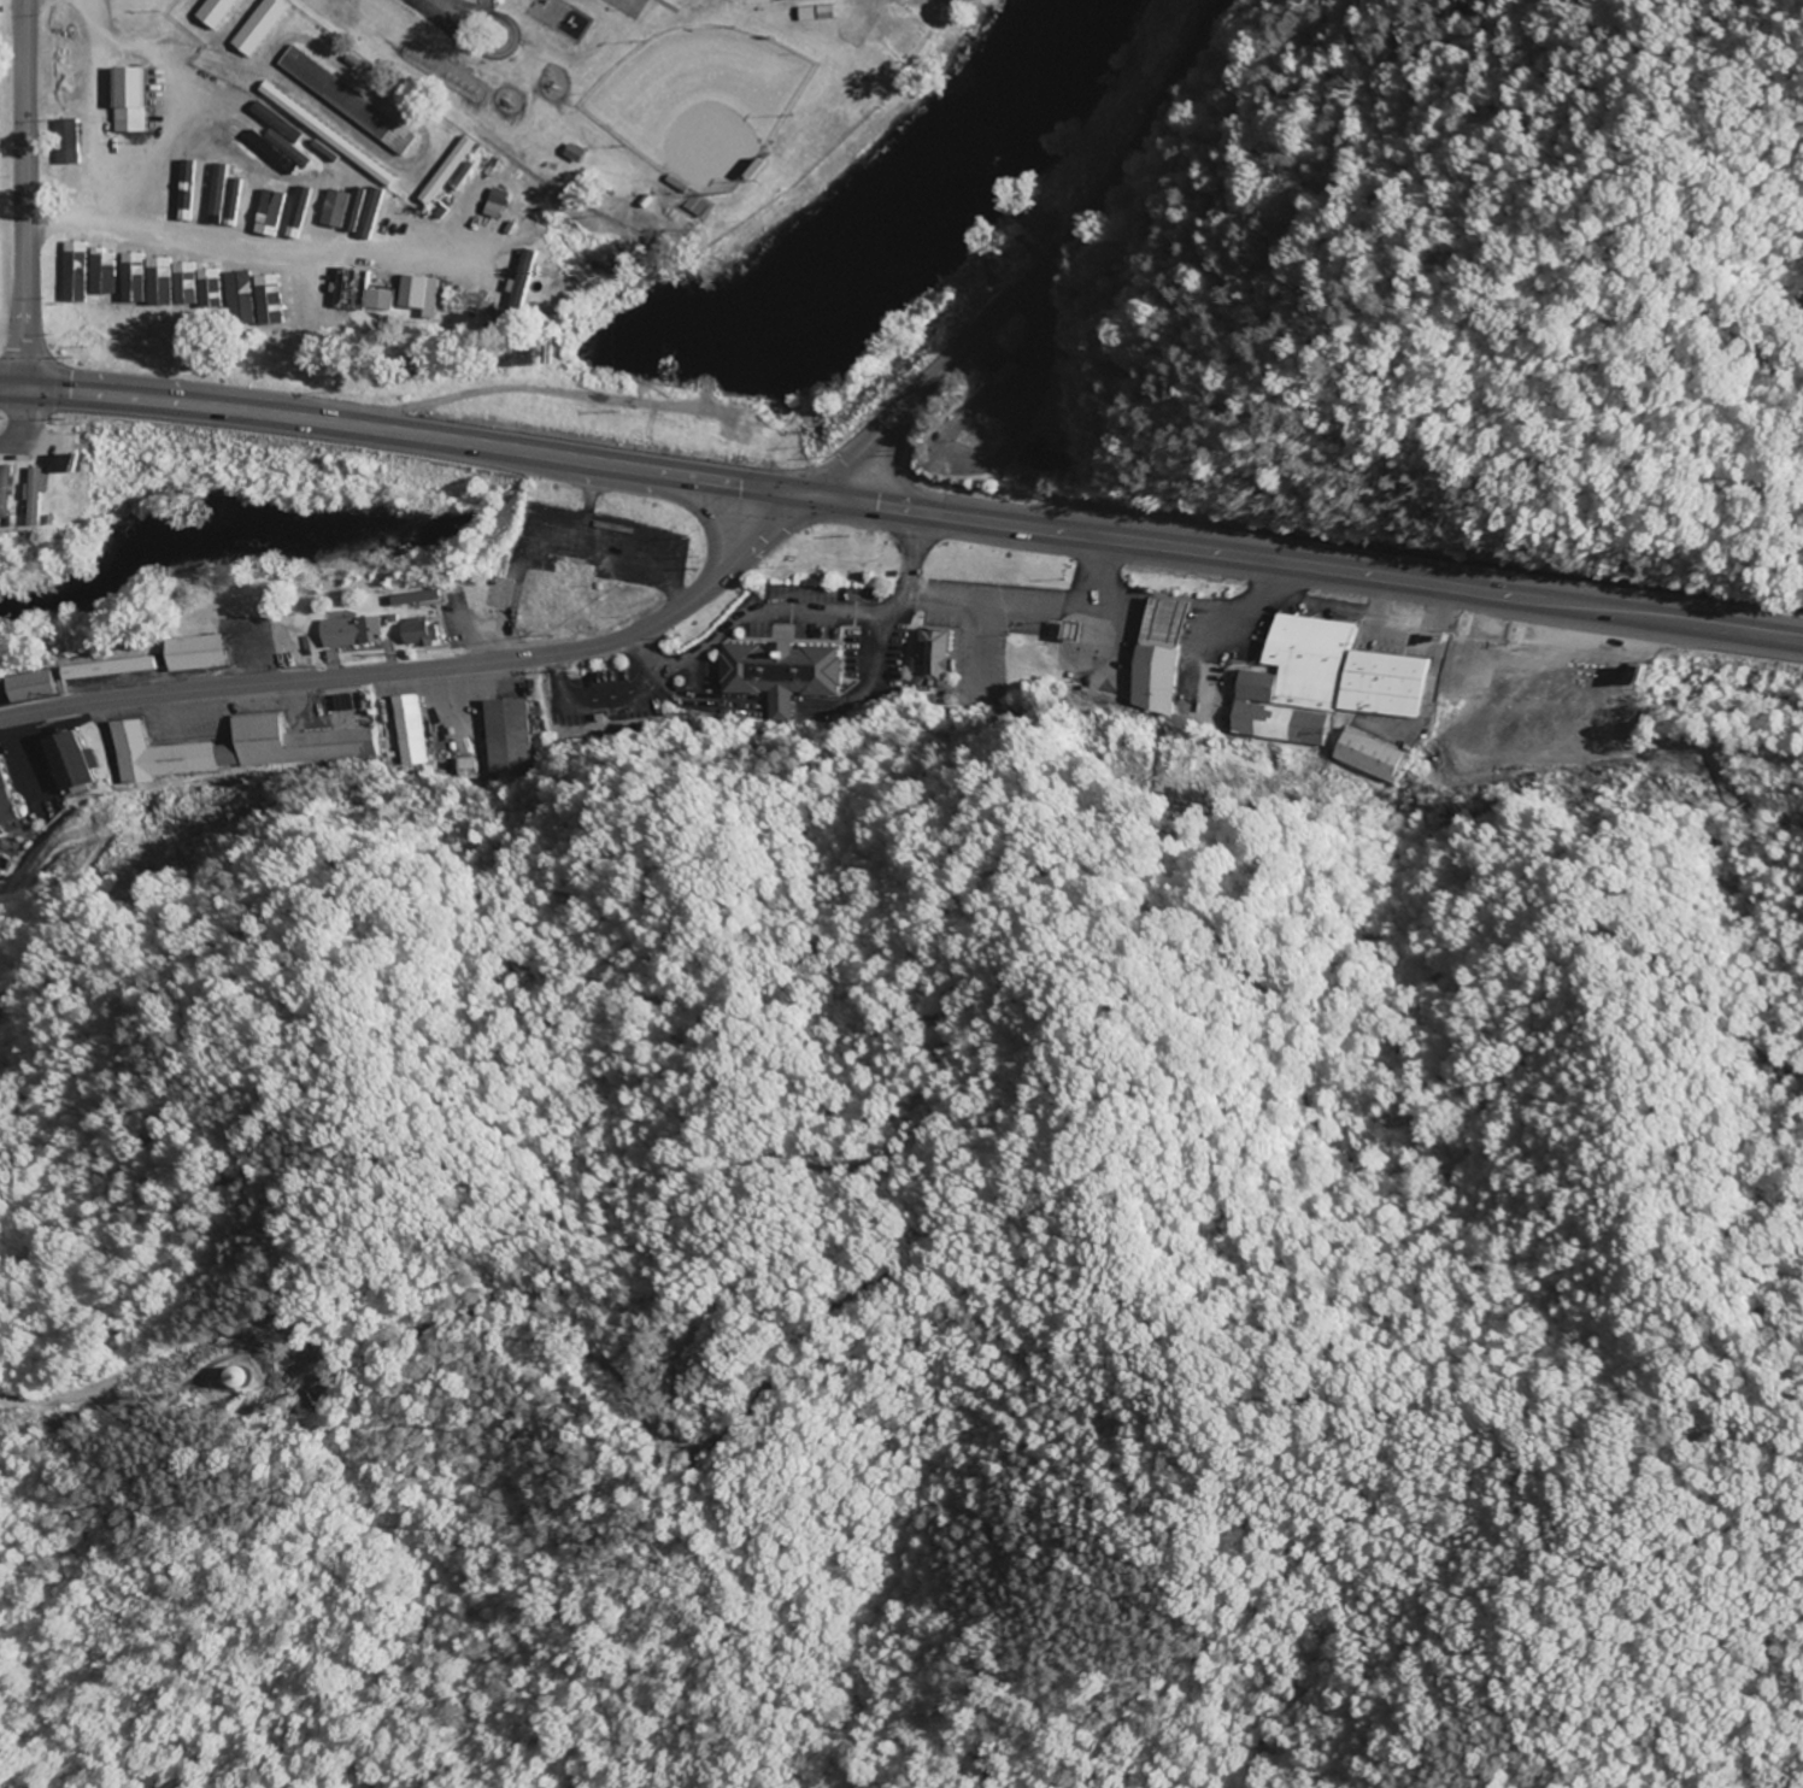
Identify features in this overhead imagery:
building: (215, 13)
building: (828, 13)
building: (809, 14)
building: (258, 28)
building: (129, 101)
building: (347, 101)
park: (701, 101)
building: (242, 106)
building: (328, 135)
building: (66, 142)
building: (287, 149)
building: (447, 172)
building: (169, 180)
building: (152, 181)
building: (182, 190)
road: (29, 195)
building: (229, 202)
building: (251, 202)
building: (495, 205)
building: (296, 208)
building: (325, 208)
building: (346, 218)
building: (101, 272)
road: (1046, 272)
building: (77, 275)
building: (524, 278)
building: (157, 283)
building: (210, 289)
building: (418, 293)
building: (240, 296)
building: (269, 301)
building: (381, 301)
traffic signals: (31, 392)
road: (30, 428)
road: (403, 435)
building: (1034, 458)
building: (6, 495)
traffic signals: (805, 496)
road: (1303, 571)
building: (419, 599)
building: (356, 634)
building: (423, 634)
building: (200, 655)
building: (1158, 655)
building: (934, 657)
road: (428, 669)
building: (116, 670)
building: (780, 674)
building: (1322, 684)
building: (35, 688)
building: (407, 731)
building: (507, 737)
building: (233, 751)
building: (1373, 757)
building: (67, 764)
building: (462, 770)
building: (4, 804)
building: (0, 835)
road: (206, 1193)
building: (230, 1381)

